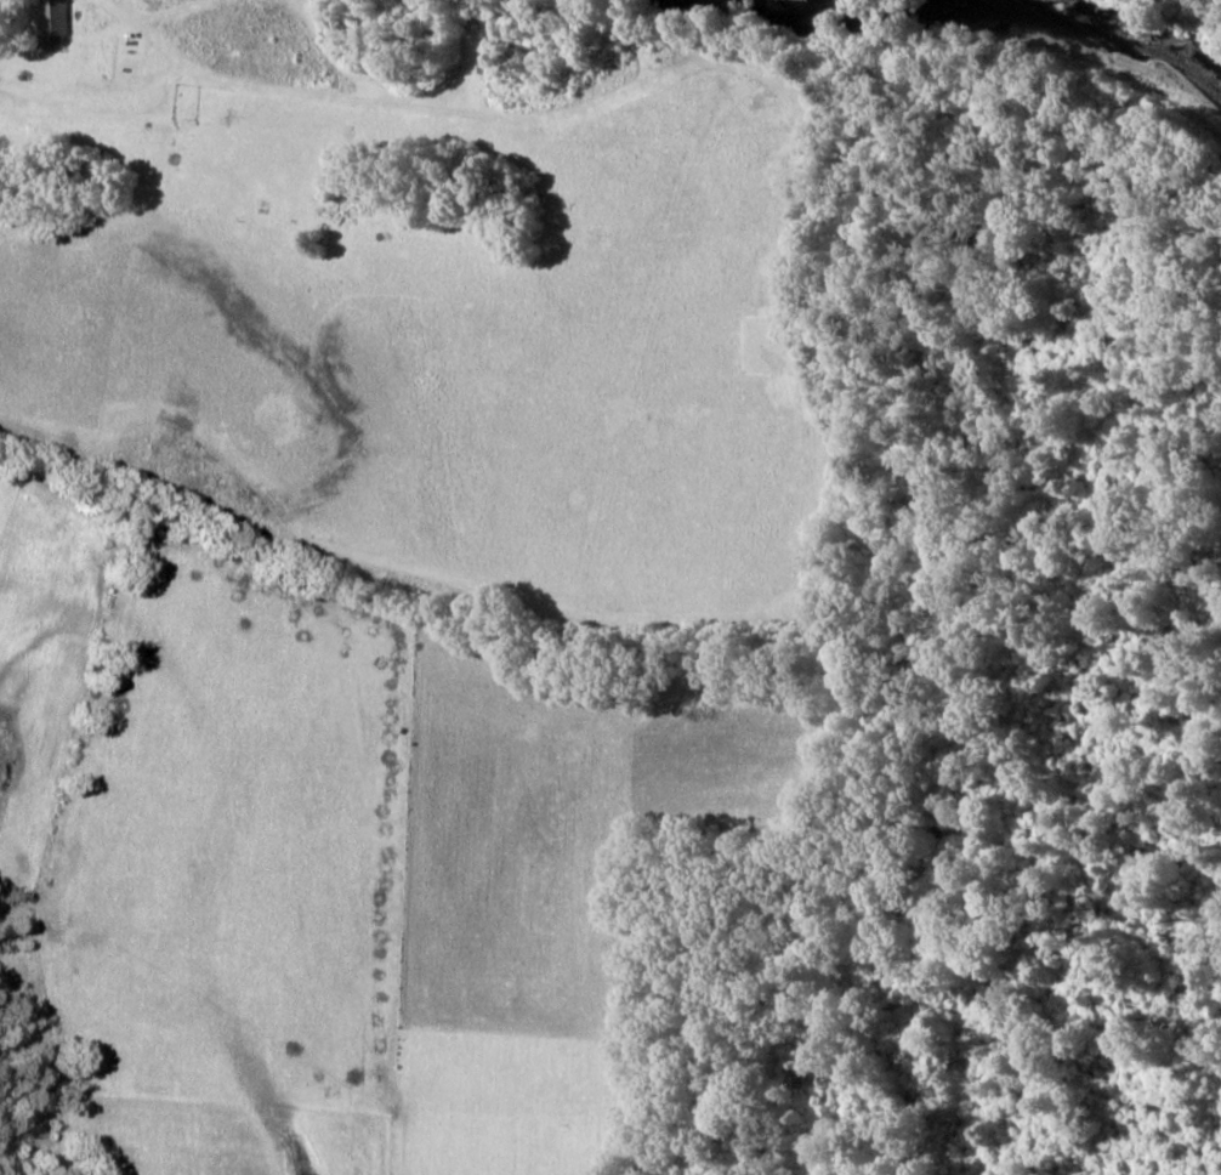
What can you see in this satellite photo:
building: (58, 17)

